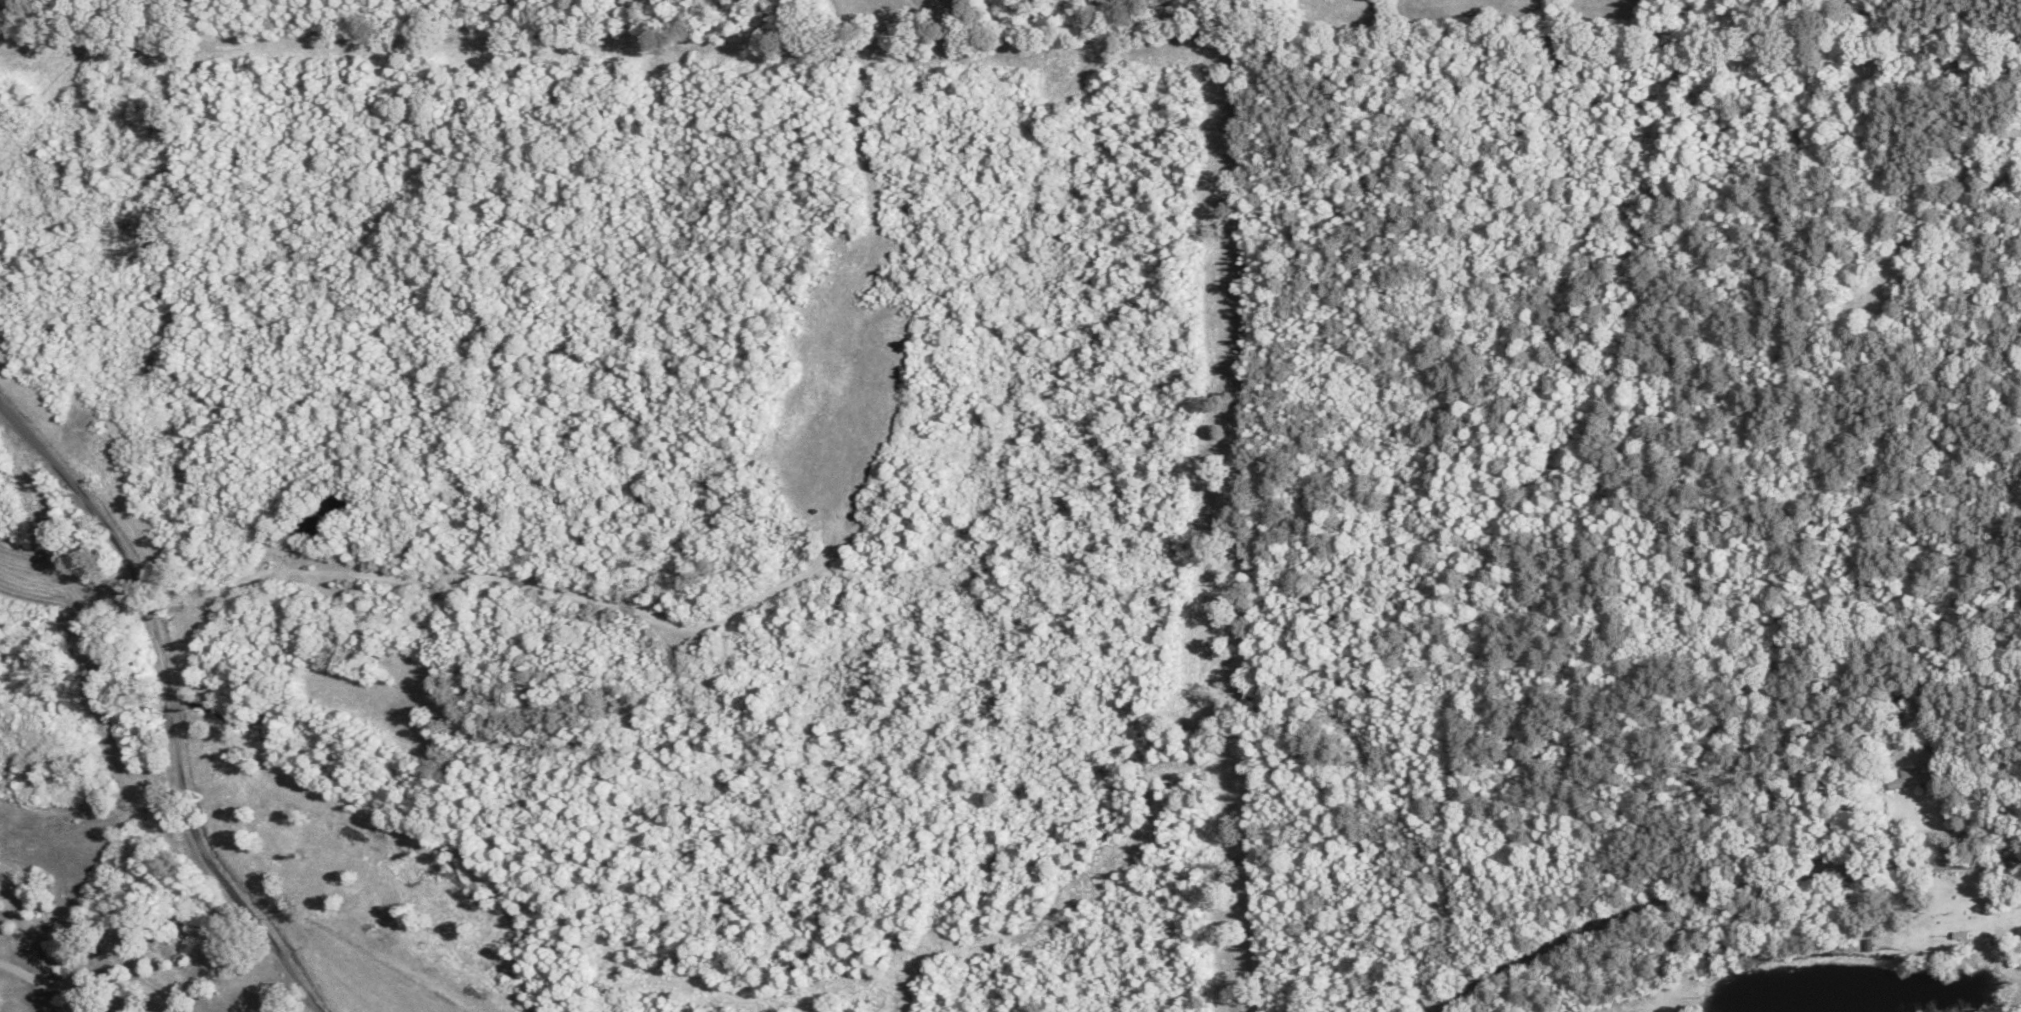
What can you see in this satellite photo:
road: (184, 704)
building: (1904, 781)
road: (1746, 913)
building: (196, 951)

